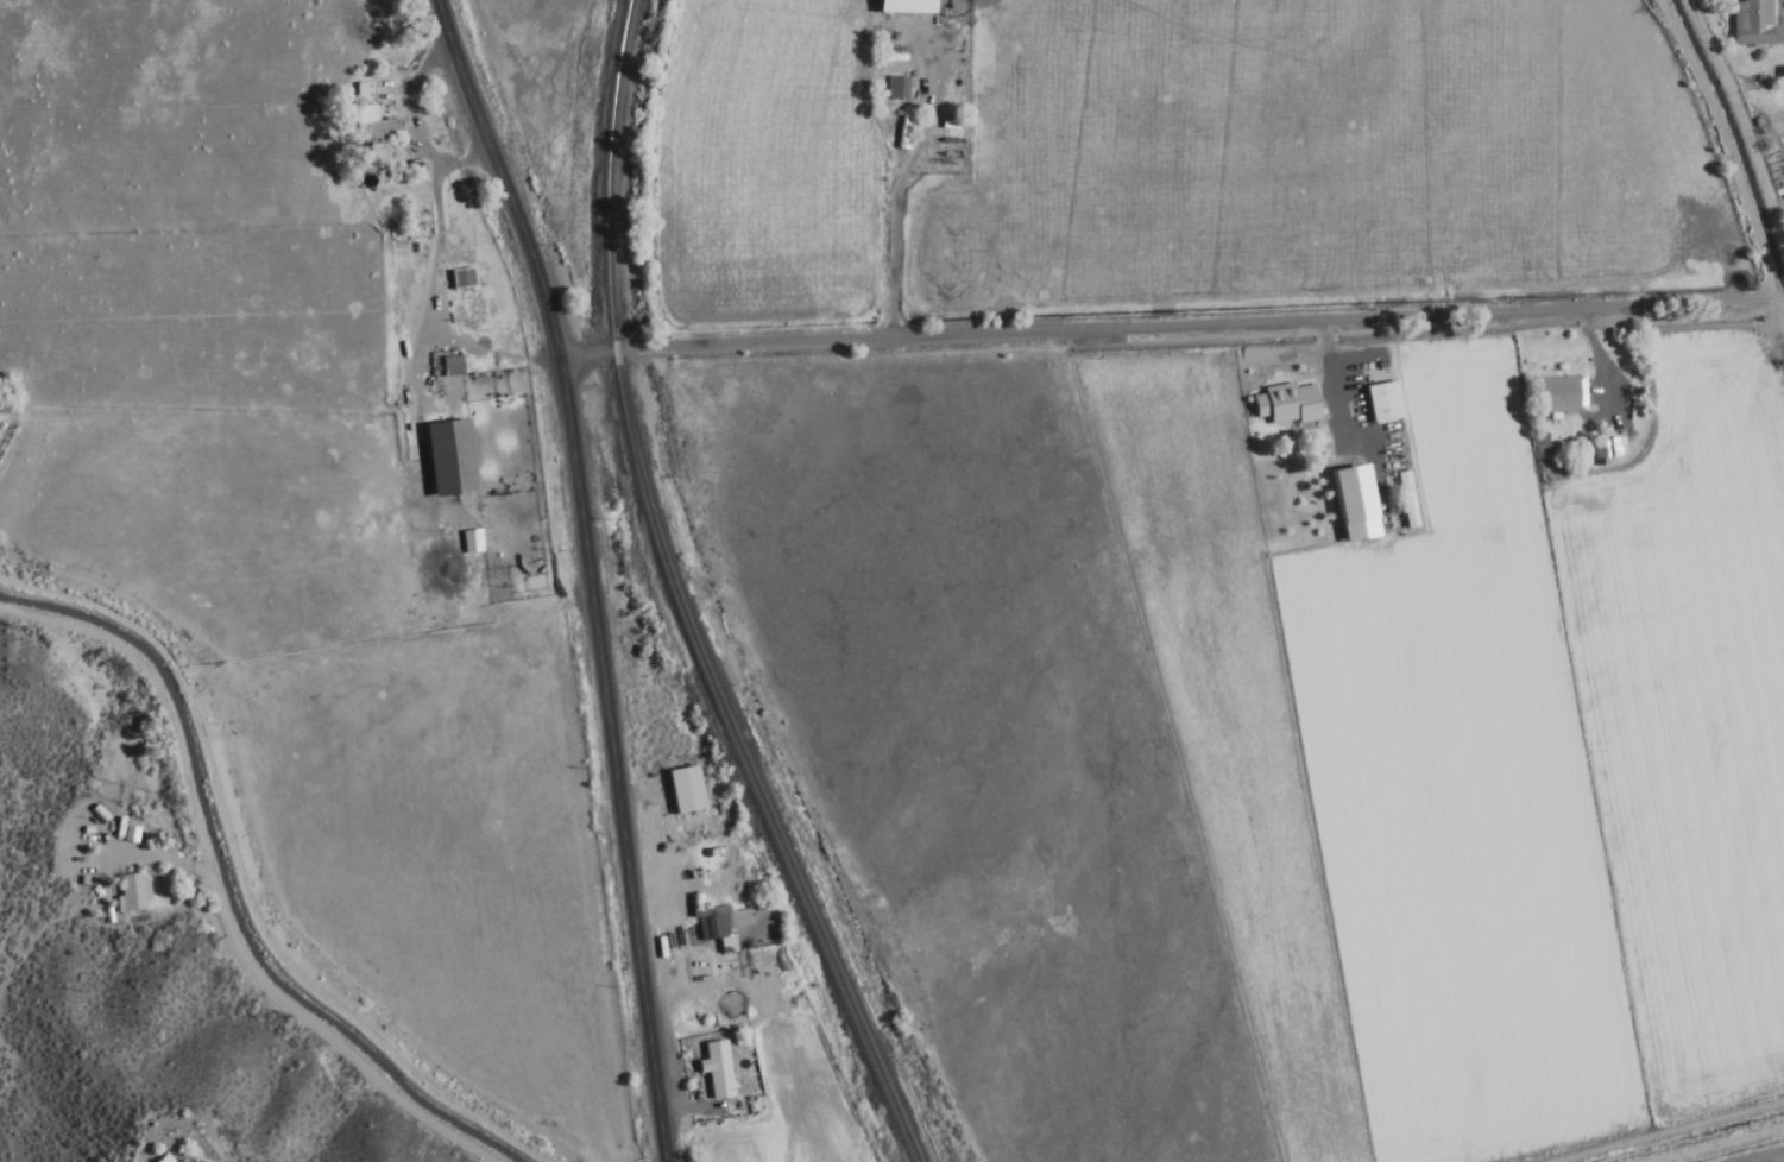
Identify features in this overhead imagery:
building: (900, 7)
building: (1748, 23)
building: (1779, 76)
building: (894, 89)
building: (373, 114)
building: (902, 130)
building: (458, 279)
road: (1165, 326)
building: (448, 367)
building: (1556, 394)
building: (1379, 402)
building: (1281, 404)
railway: (619, 410)
building: (1605, 449)
building: (445, 457)
building: (1348, 494)
building: (1402, 500)
road: (574, 571)
building: (677, 790)
road: (232, 884)
building: (127, 895)
road: (203, 896)
building: (713, 929)
railway: (834, 980)
building: (712, 1071)
building: (159, 1158)
building: (177, 1161)

